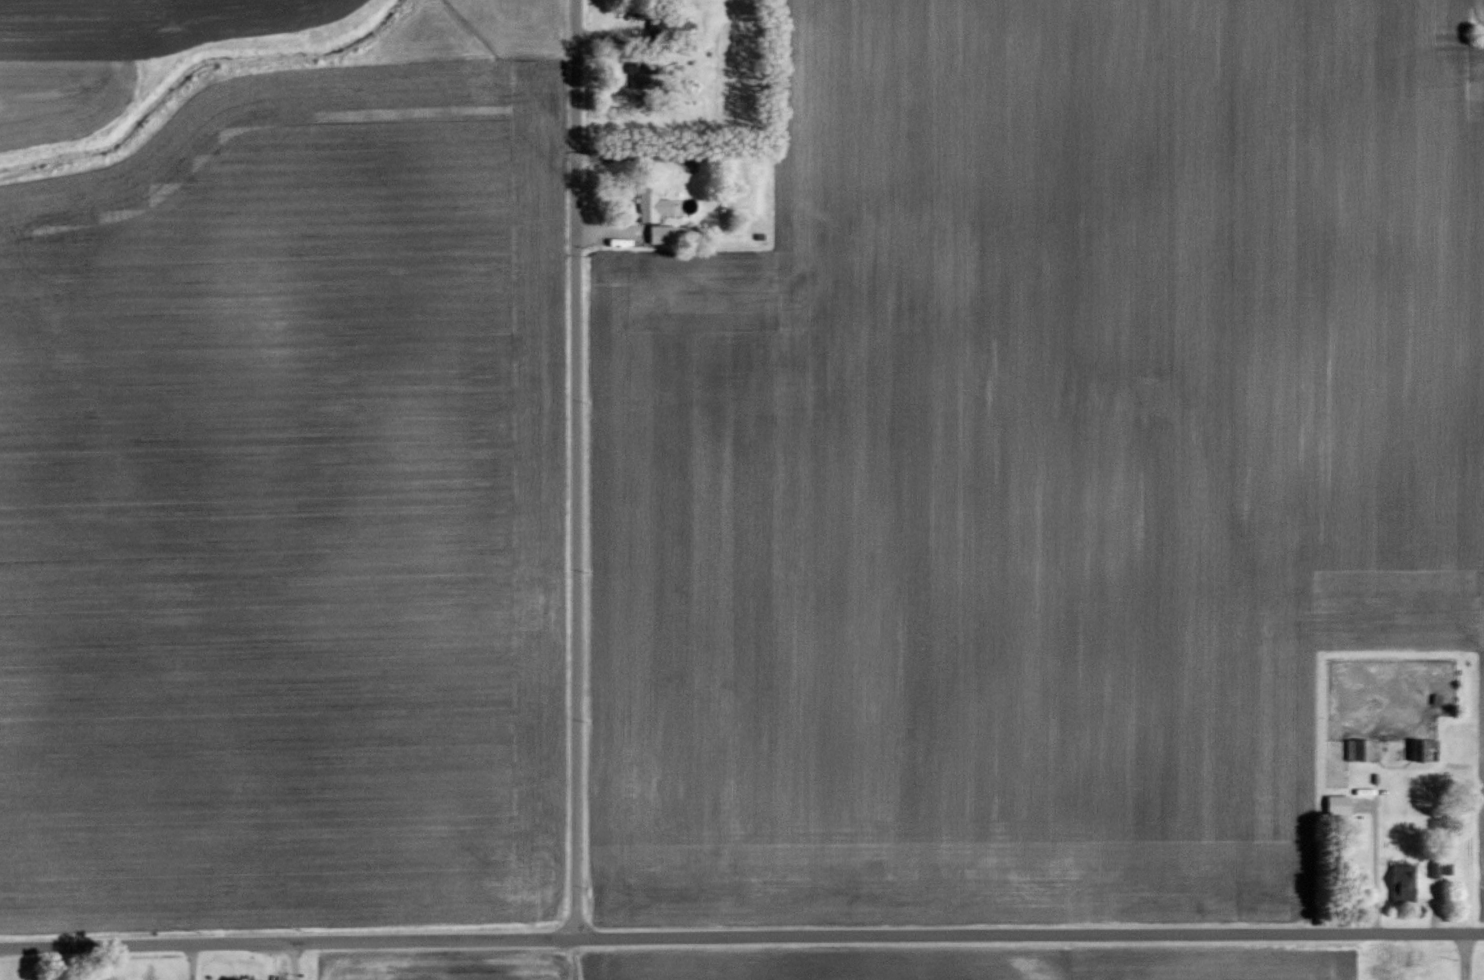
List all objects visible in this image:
building: (634, 74)
building: (650, 202)
building: (660, 233)
road: (577, 469)
building: (1422, 749)
building: (1360, 750)
building: (1336, 805)
building: (1401, 883)
road: (741, 937)
road: (1463, 957)
road: (295, 961)
road: (191, 962)

